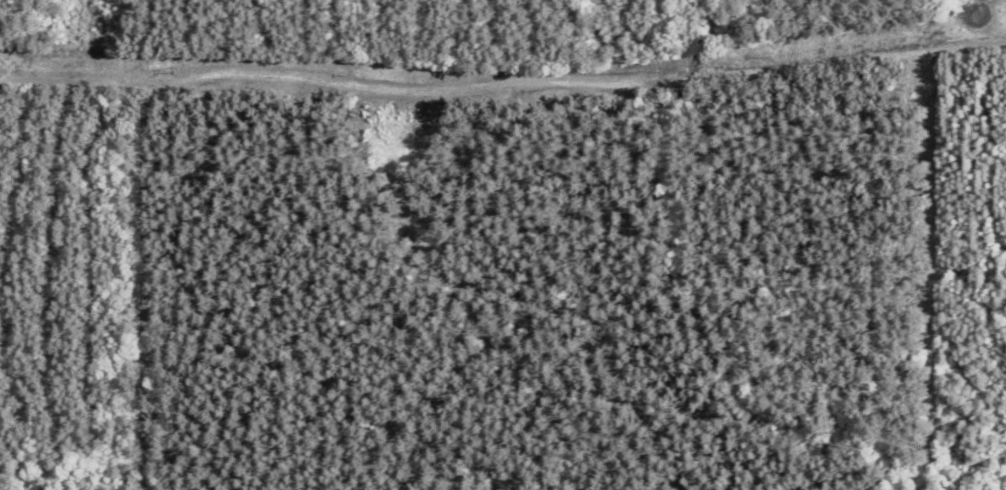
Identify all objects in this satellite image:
road: (894, 20)
road: (502, 57)
road: (995, 100)
road: (638, 271)

